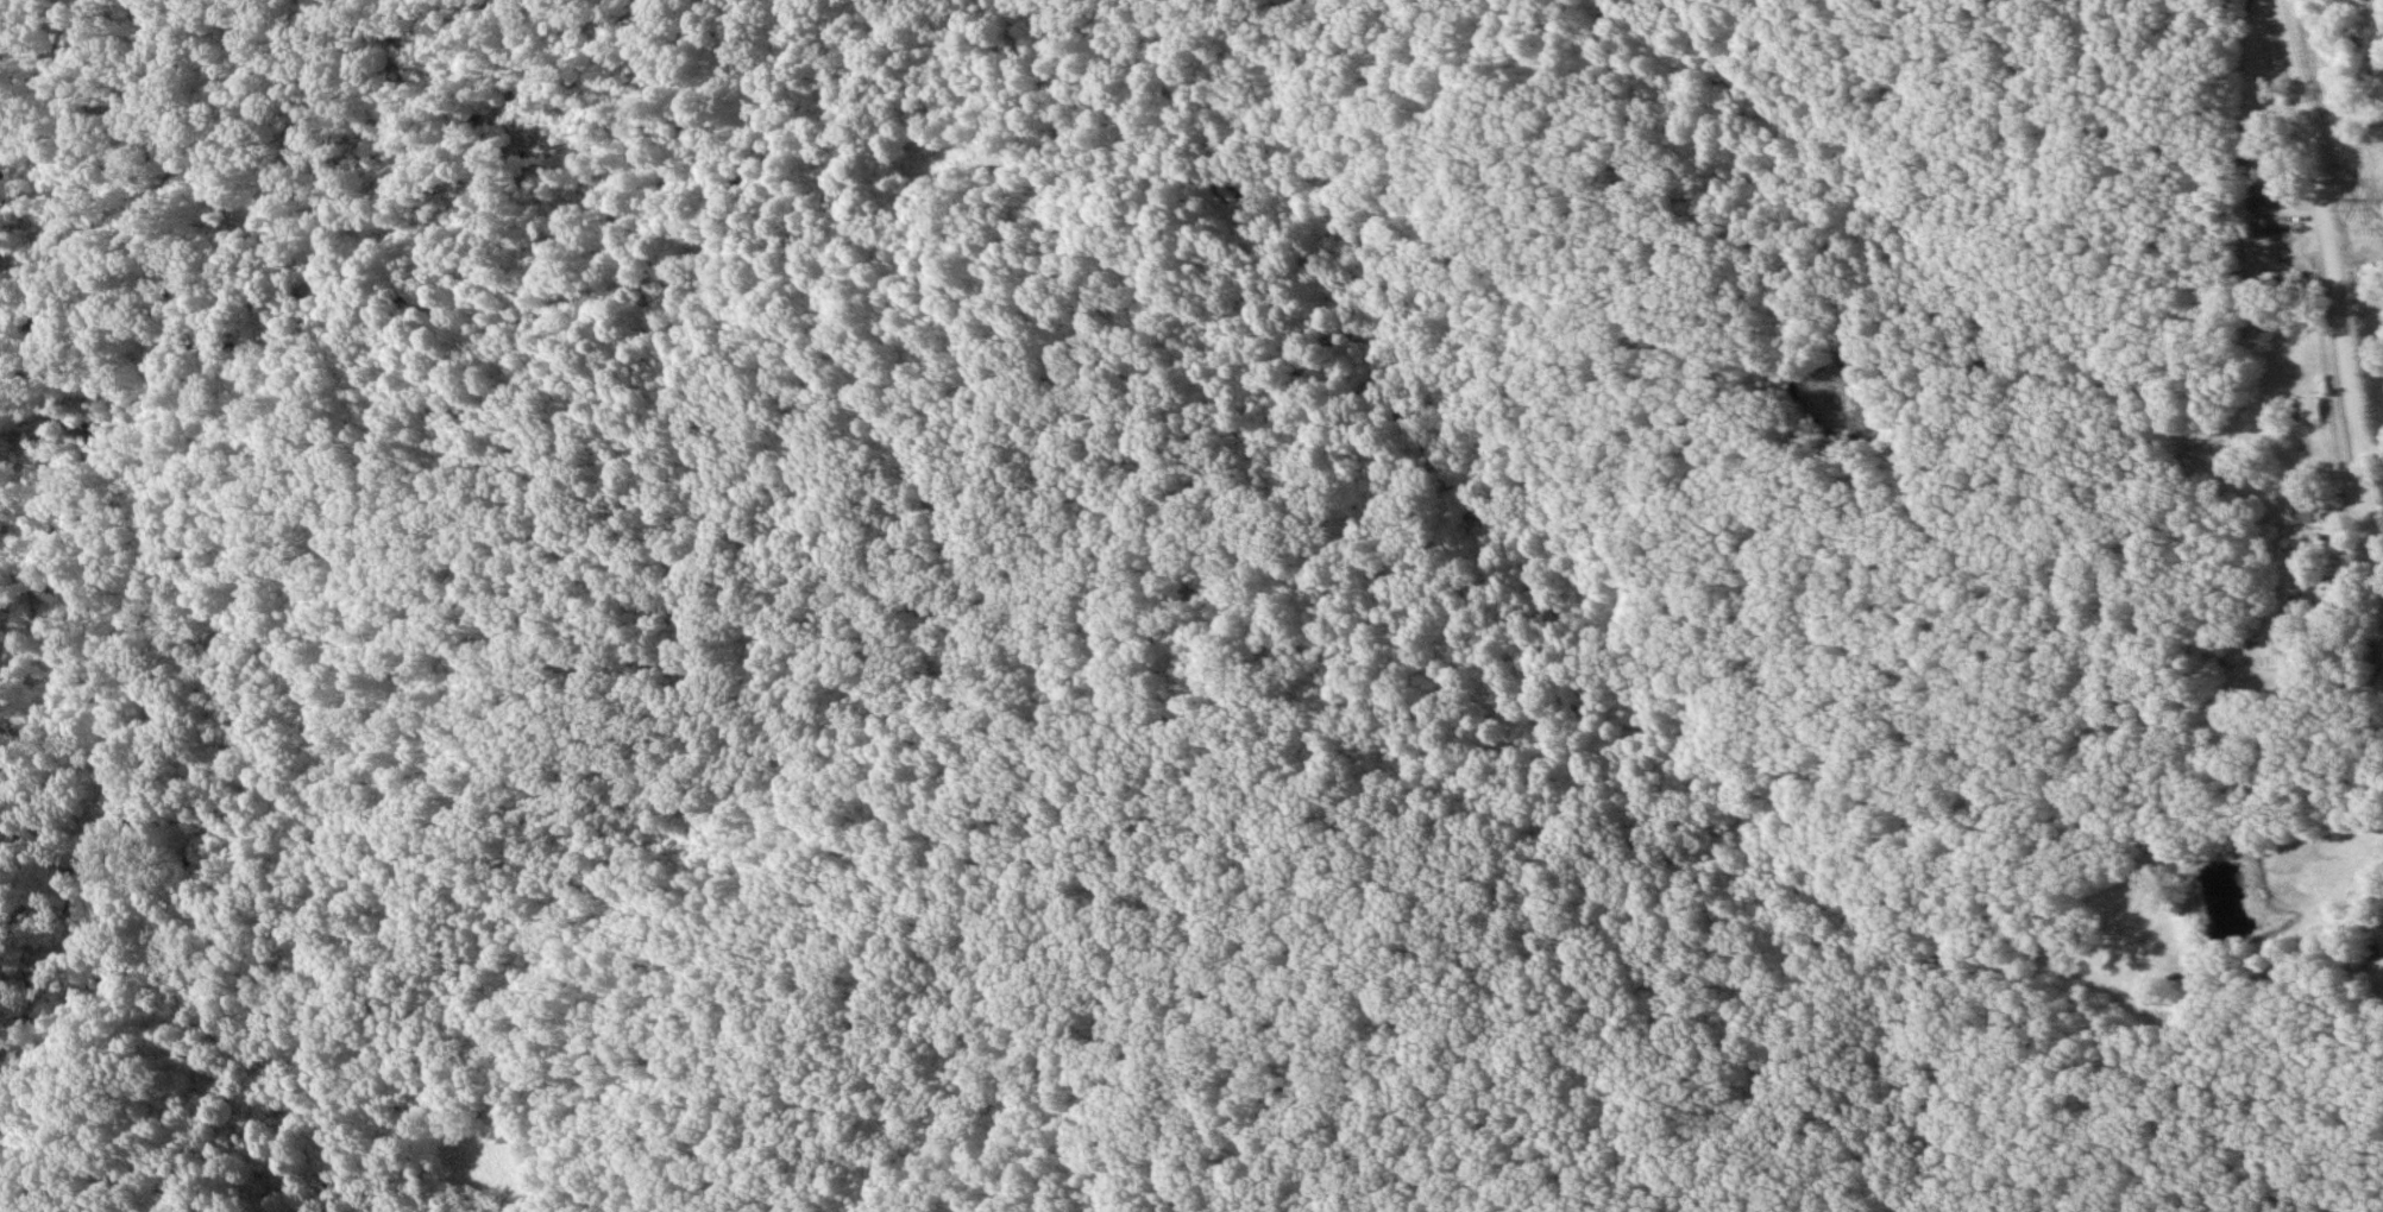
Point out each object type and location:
building: (2259, 197)
road: (2332, 261)
building: (2308, 410)
building: (2303, 515)

